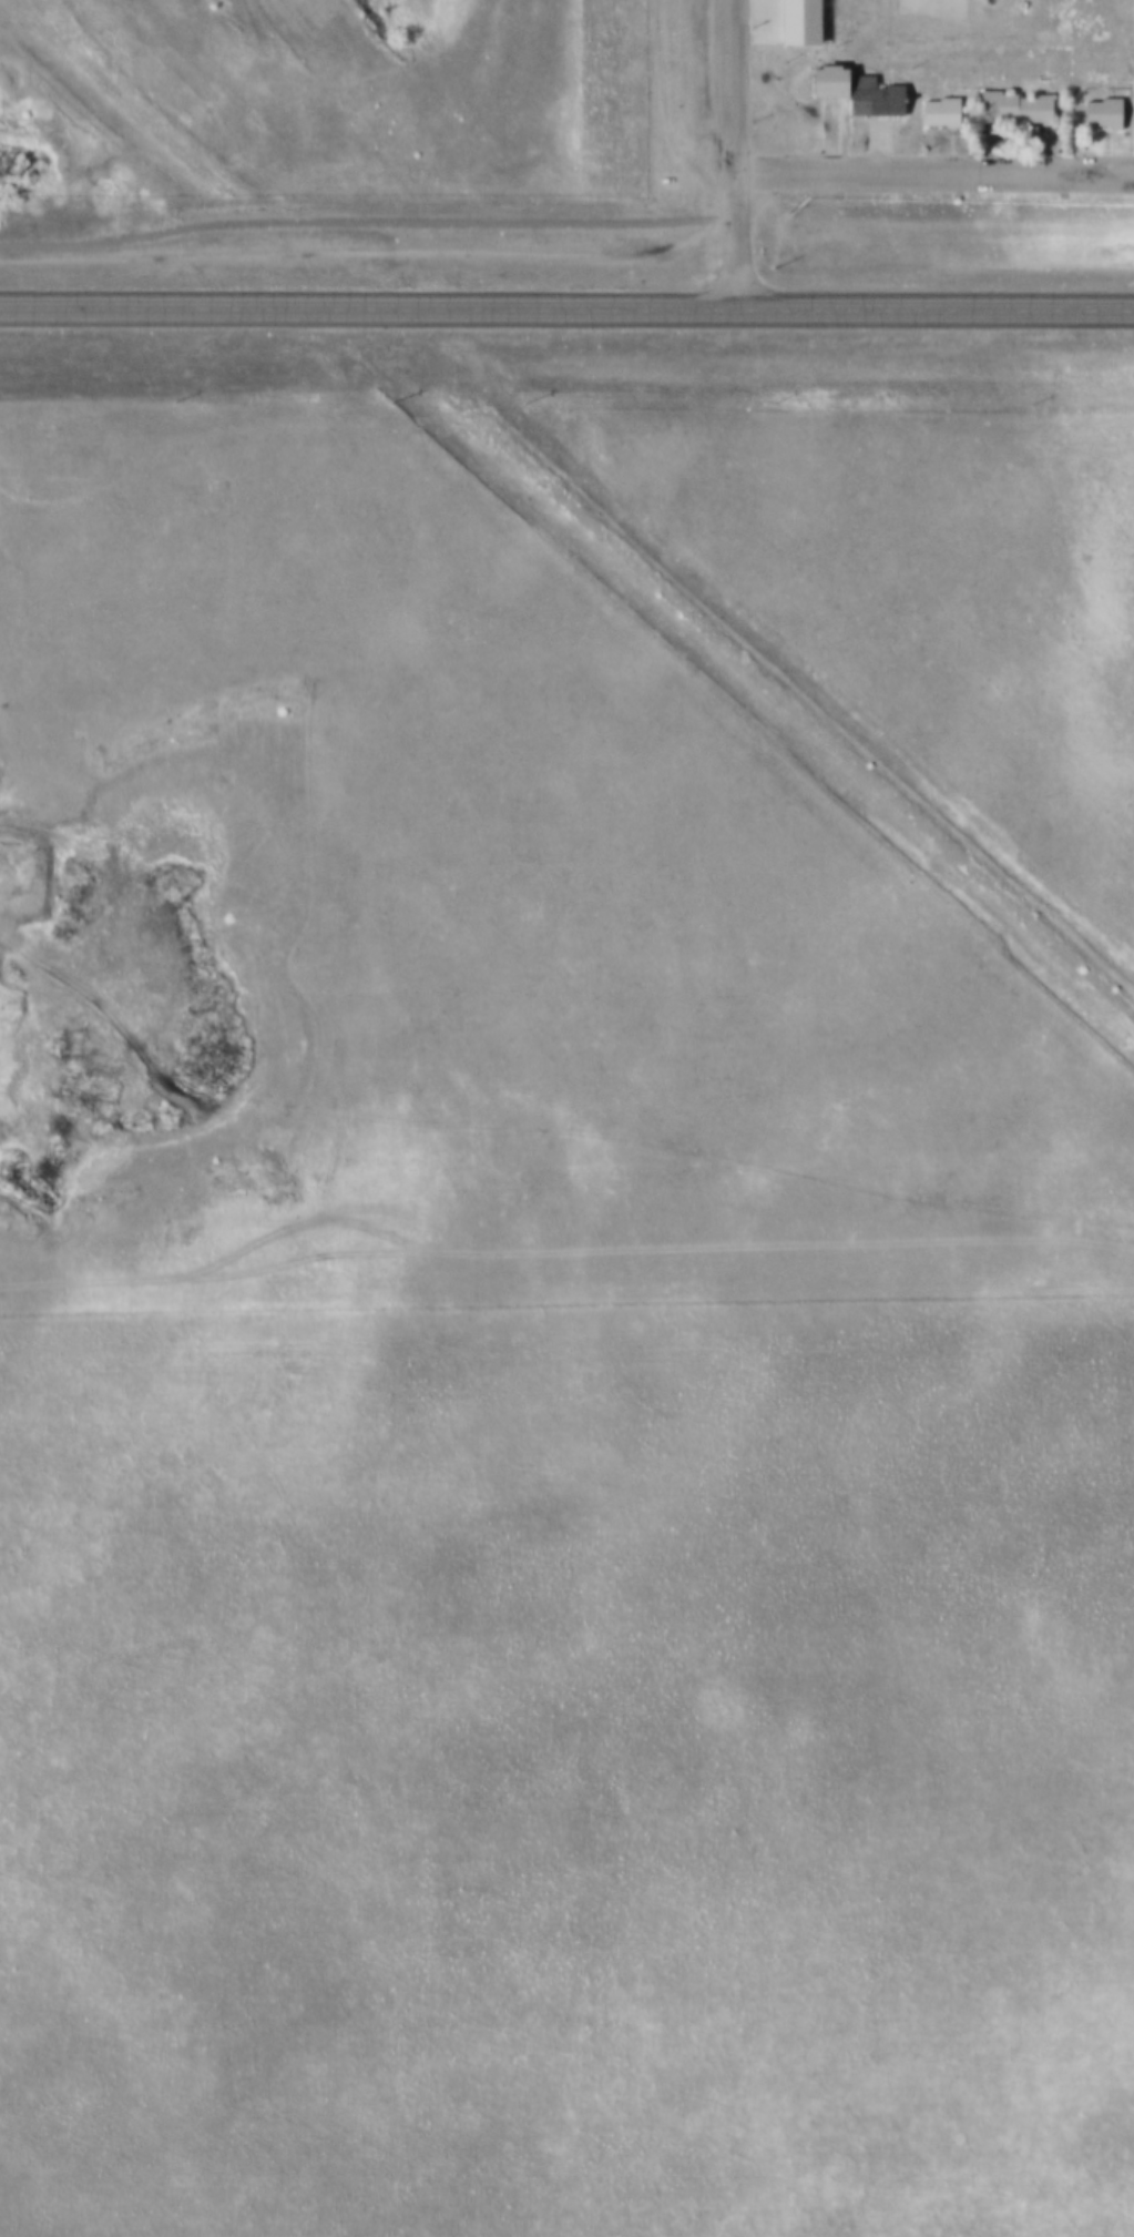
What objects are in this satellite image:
park: (924, 8)
building: (793, 22)
building: (821, 77)
building: (867, 94)
building: (1008, 104)
building: (934, 110)
building: (1096, 110)
road: (735, 151)
road: (934, 170)
road: (368, 223)
road: (566, 303)
road: (539, 1120)

